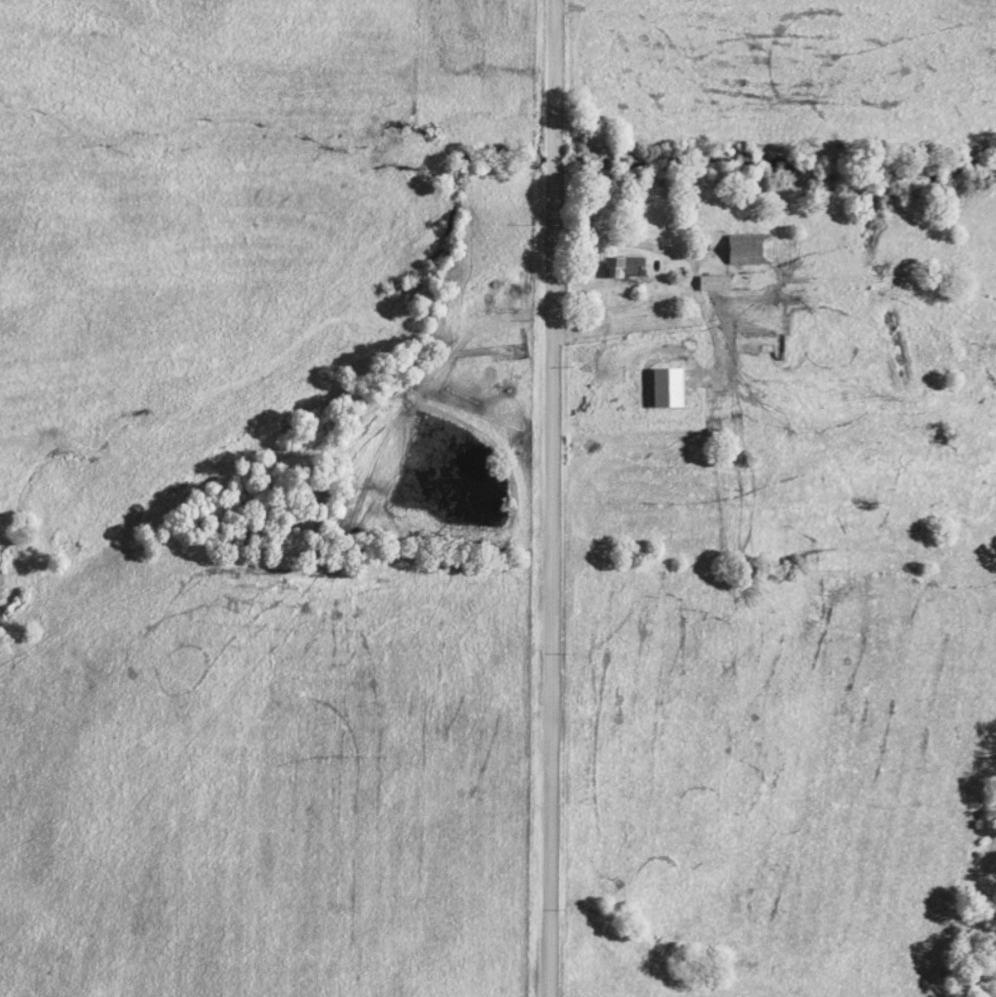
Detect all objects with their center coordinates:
road: (634, 248)
building: (749, 250)
building: (714, 283)
building: (666, 388)
road: (546, 498)

